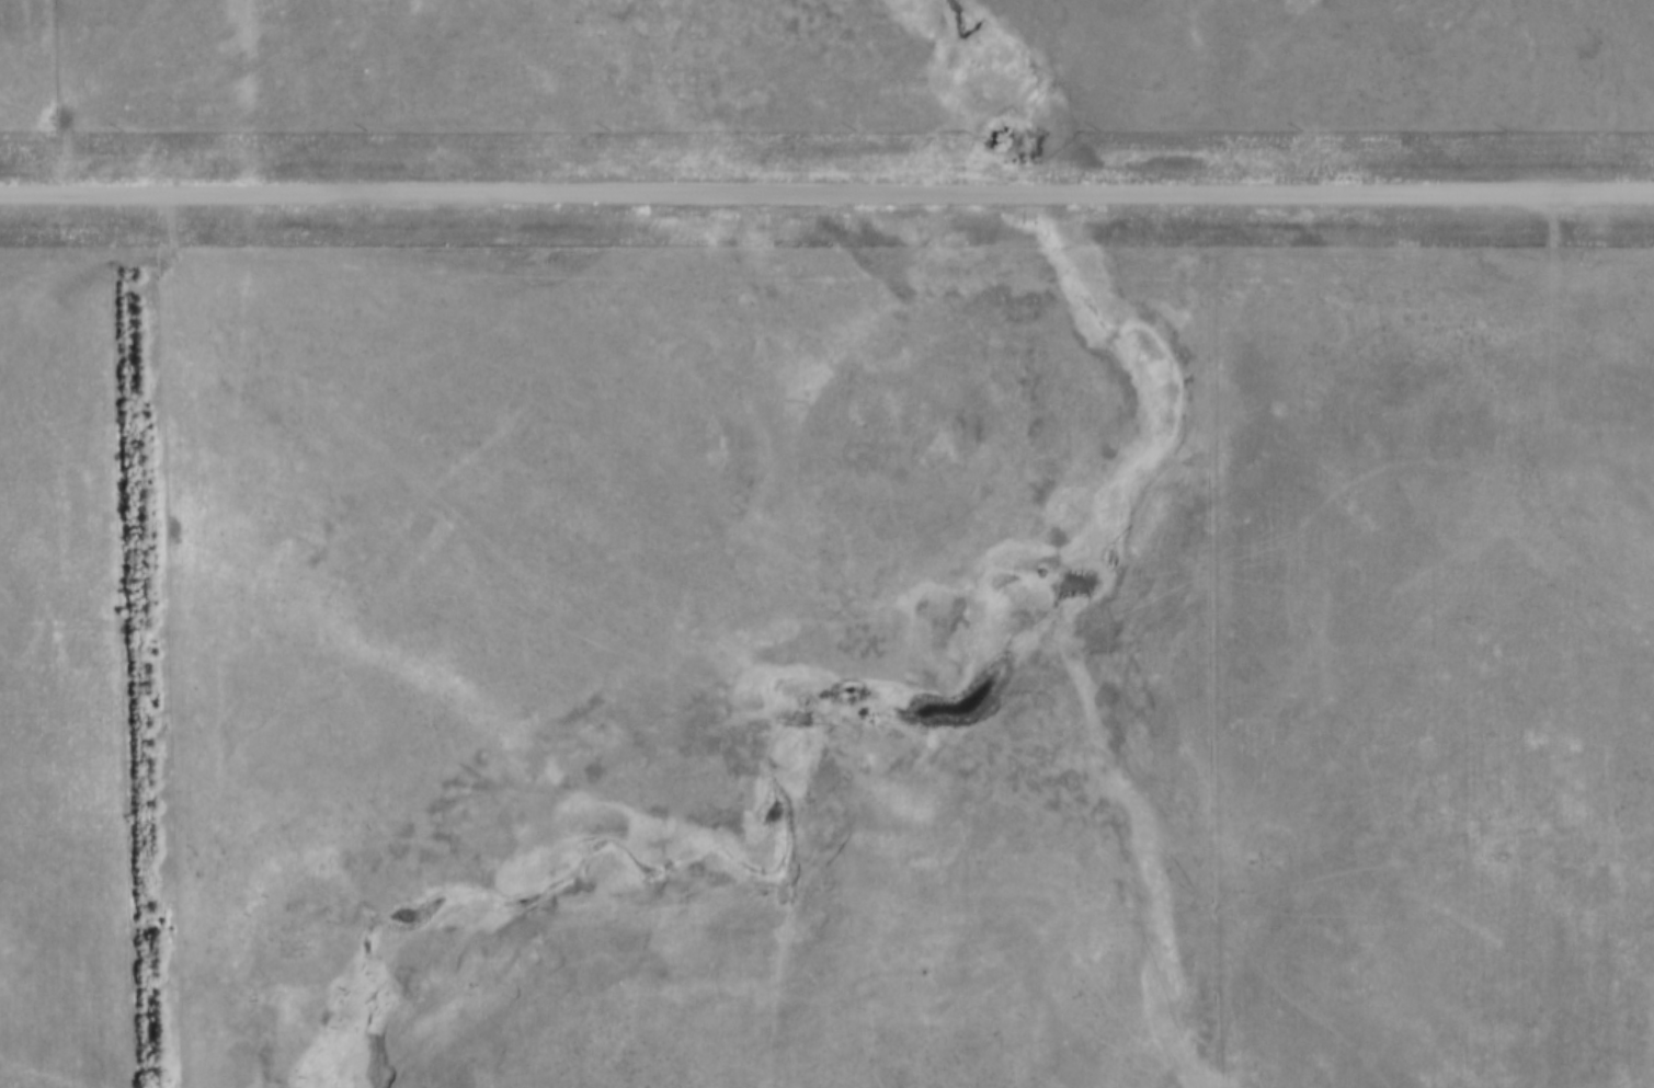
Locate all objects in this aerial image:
road: (826, 196)

